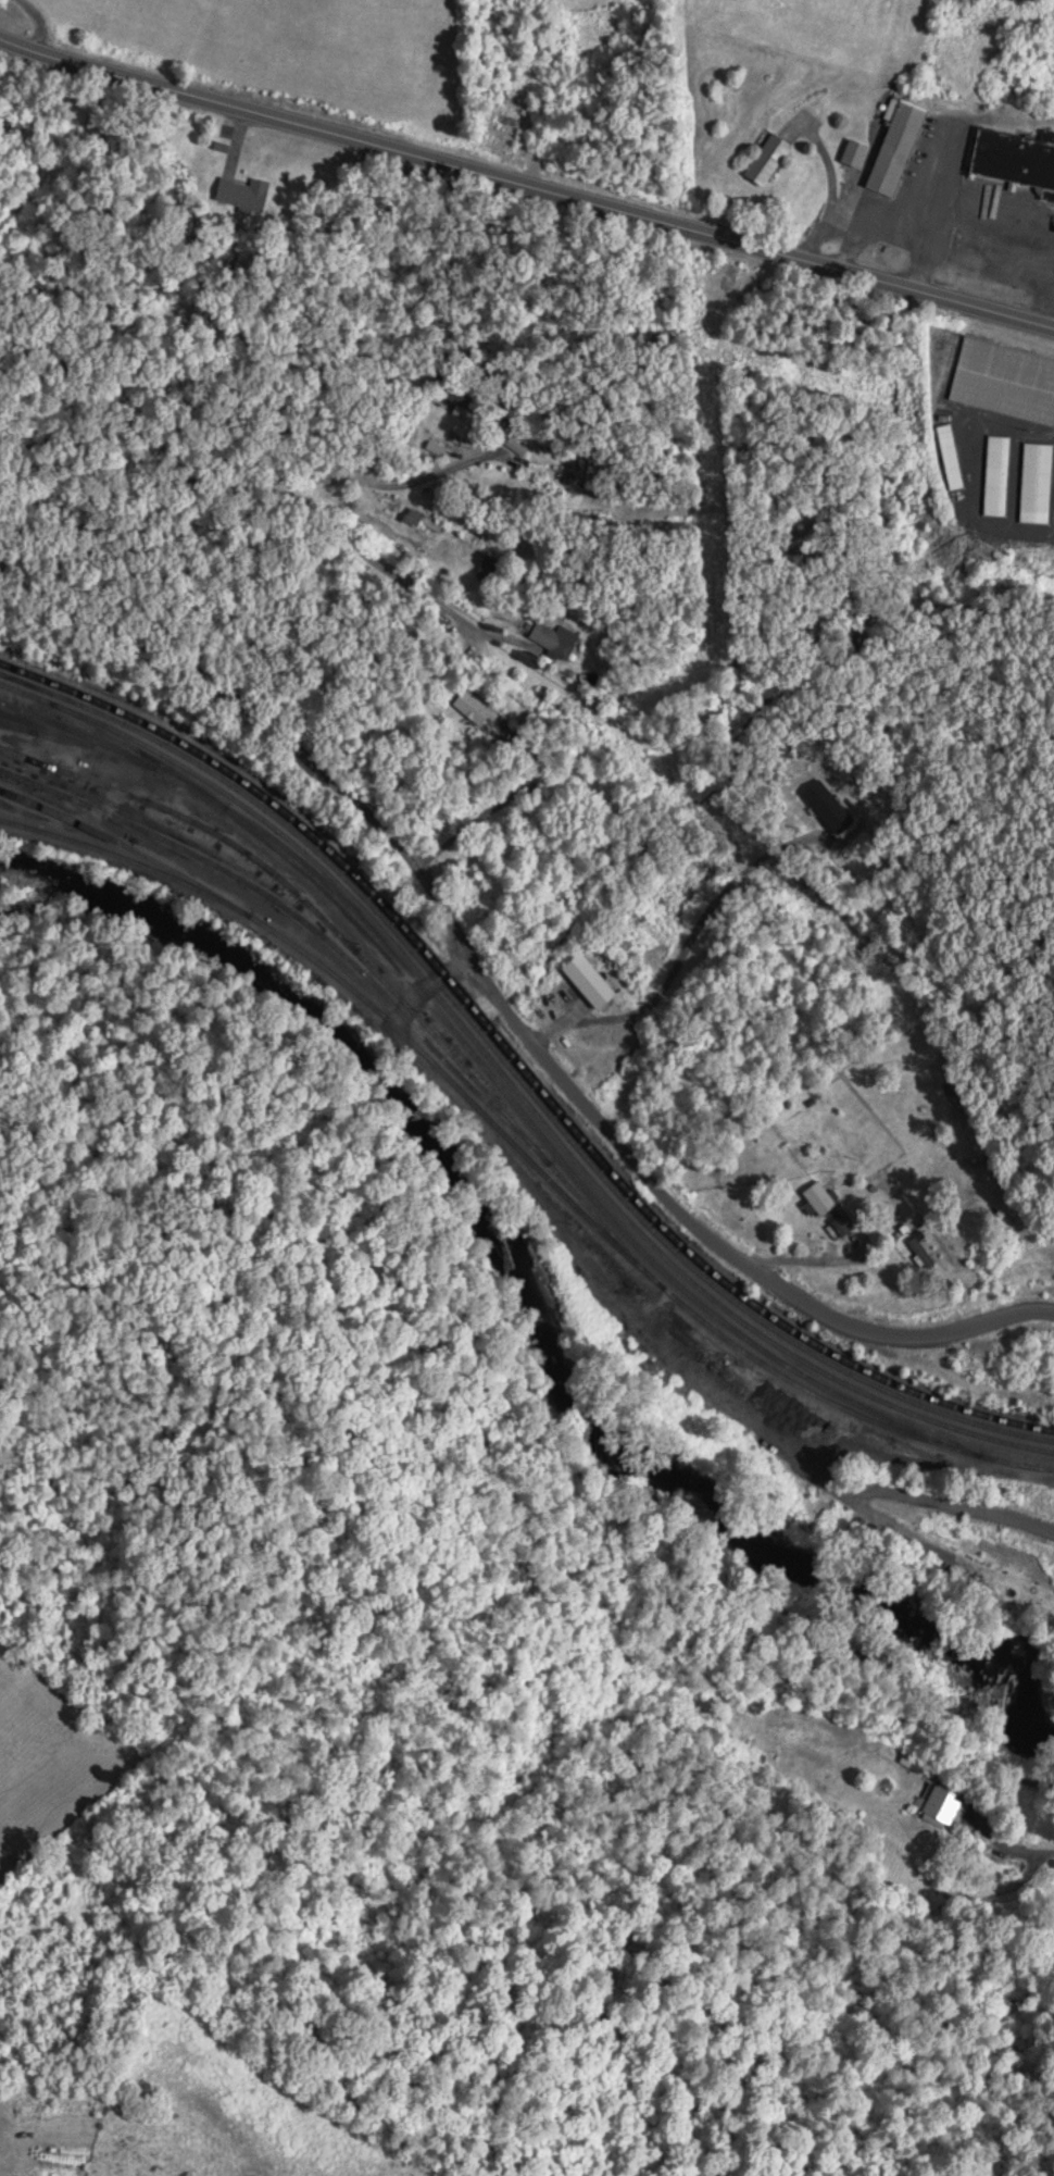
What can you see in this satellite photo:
road: (38, 21)
building: (894, 148)
building: (853, 153)
building: (1014, 158)
building: (766, 160)
road: (525, 186)
building: (241, 192)
building: (411, 518)
road: (416, 614)
building: (551, 639)
railway: (1, 722)
railway: (27, 725)
railway: (70, 731)
railway: (136, 750)
railway: (221, 804)
railway: (125, 845)
railway: (125, 858)
railway: (309, 907)
railway: (353, 967)
building: (587, 981)
road: (505, 1006)
railway: (518, 1061)
railway: (516, 1077)
railway: (513, 1091)
building: (817, 1201)
railway: (616, 1246)
river: (528, 1291)
building: (944, 1803)

